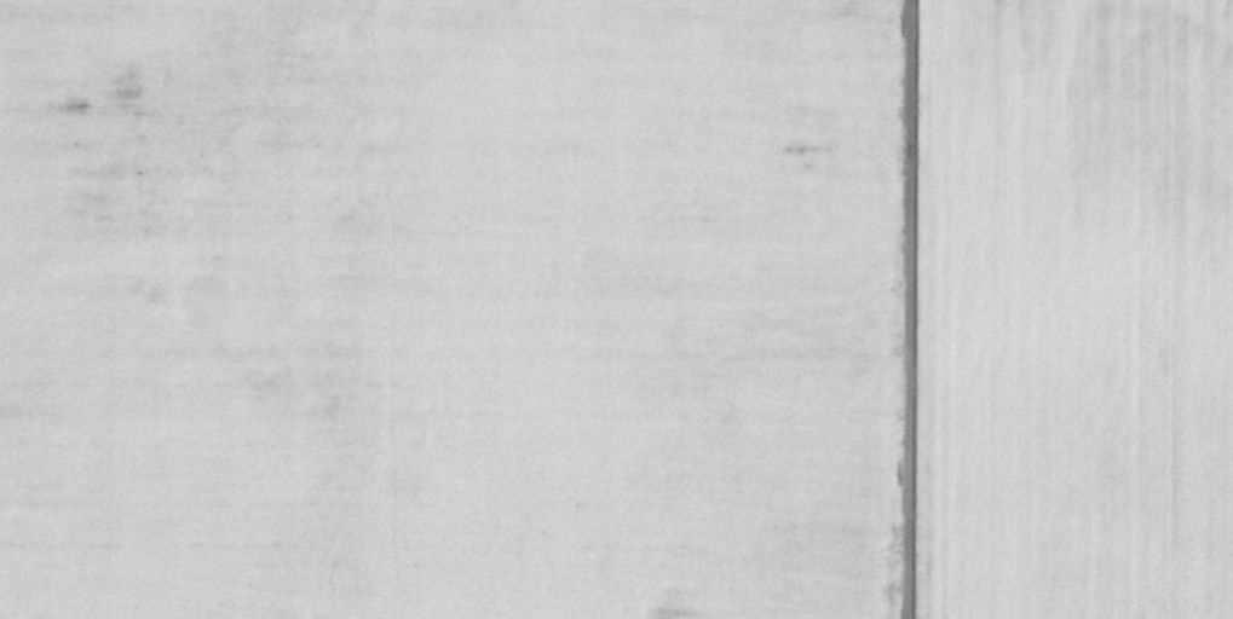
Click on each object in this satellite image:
road: (915, 309)

